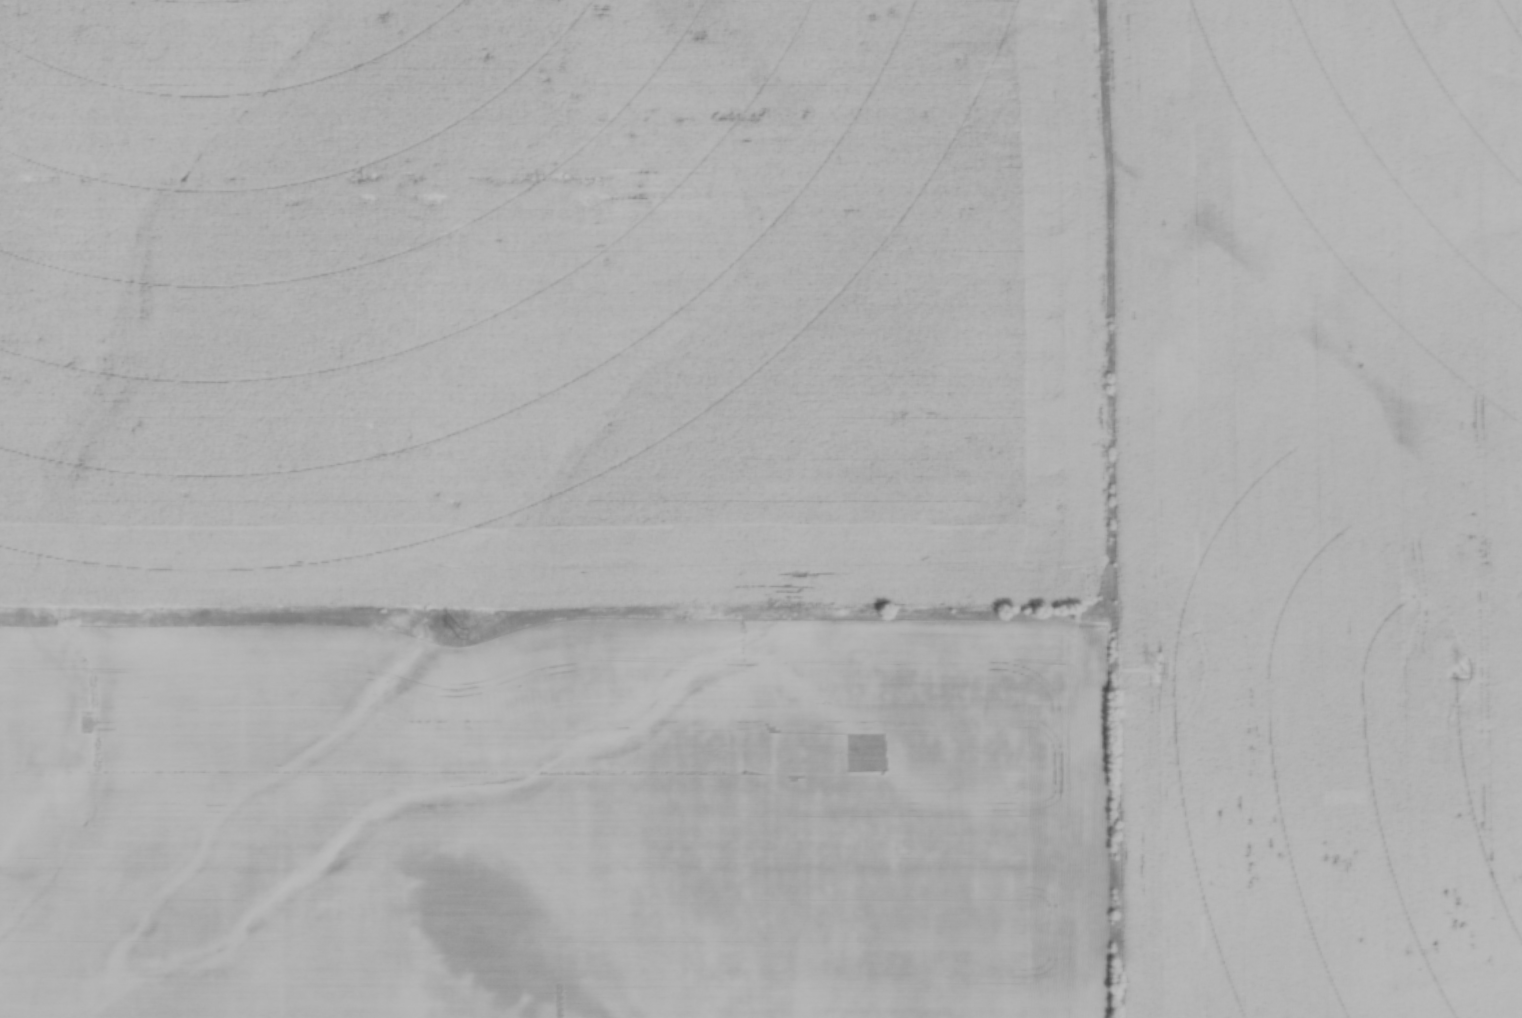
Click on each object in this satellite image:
power tower: (459, 632)
power tower: (1158, 667)
power tower: (1472, 667)

